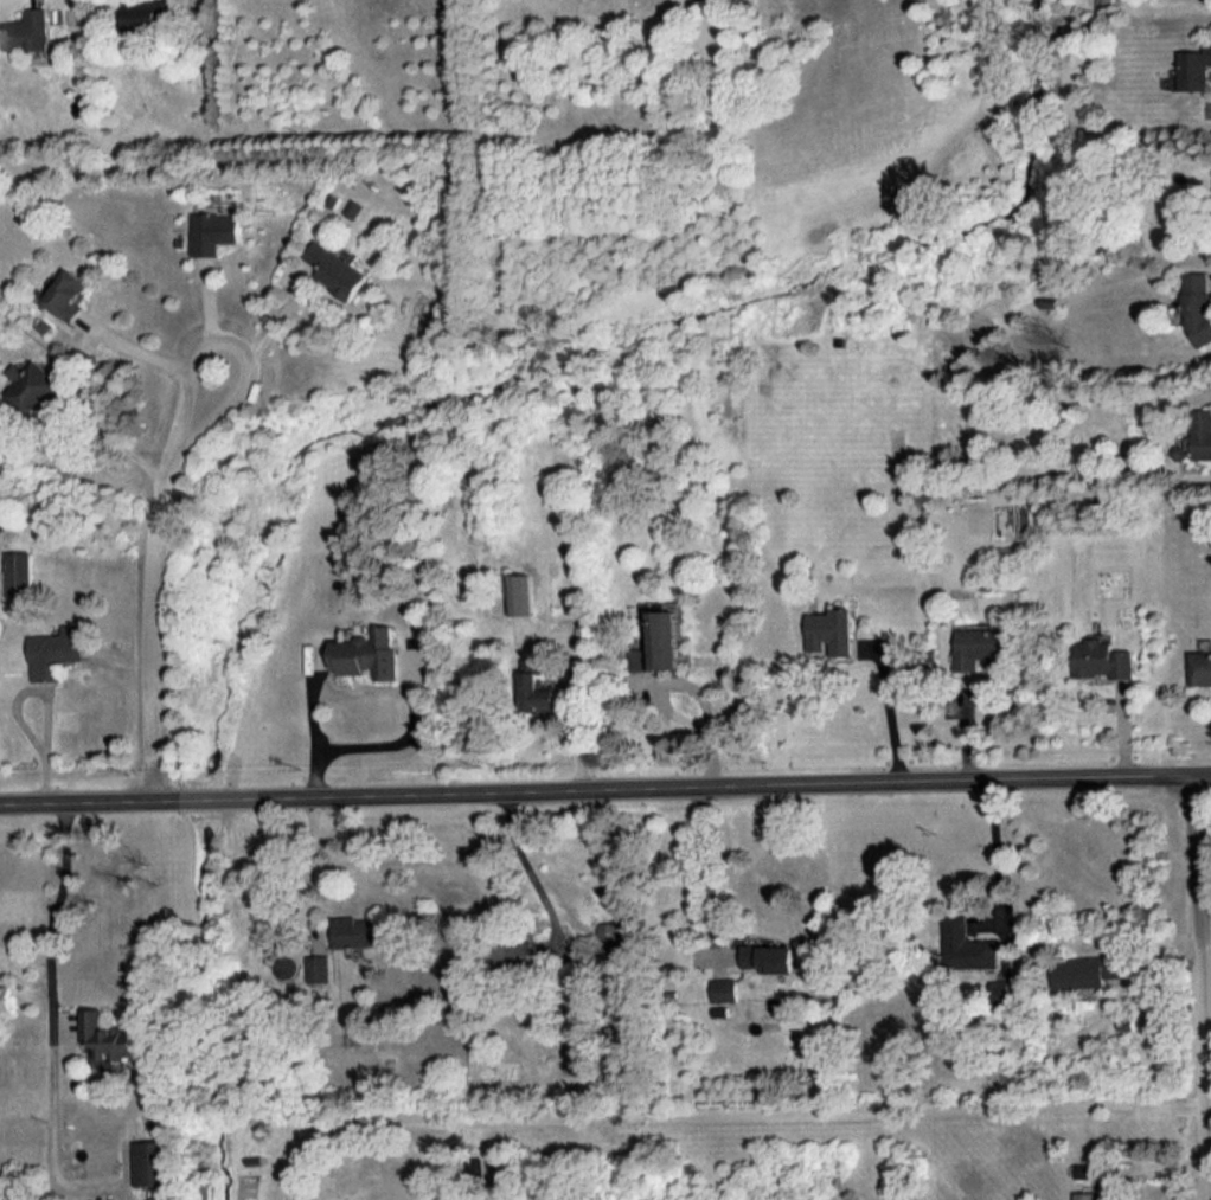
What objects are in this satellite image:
building: (152, 13)
building: (28, 30)
building: (1196, 69)
building: (213, 231)
building: (337, 270)
building: (68, 294)
building: (1199, 306)
road: (263, 334)
road: (150, 355)
building: (36, 386)
building: (1197, 437)
building: (21, 572)
road: (156, 580)
building: (525, 593)
building: (833, 630)
building: (661, 642)
building: (985, 647)
building: (58, 650)
building: (370, 653)
building: (1106, 659)
building: (1202, 667)
building: (540, 688)
road: (890, 712)
road: (383, 742)
road: (605, 788)
road: (999, 852)
road: (523, 862)
road: (313, 865)
road: (711, 872)
road: (56, 917)
building: (355, 931)
building: (610, 933)
building: (969, 944)
building: (770, 956)
building: (319, 967)
building: (1088, 970)
road: (1203, 986)
building: (725, 988)
building: (1001, 990)
building: (6, 995)
building: (108, 1037)
road: (728, 1115)
road: (1209, 1136)
building: (153, 1162)
building: (1085, 1169)
building: (1087, 1195)

